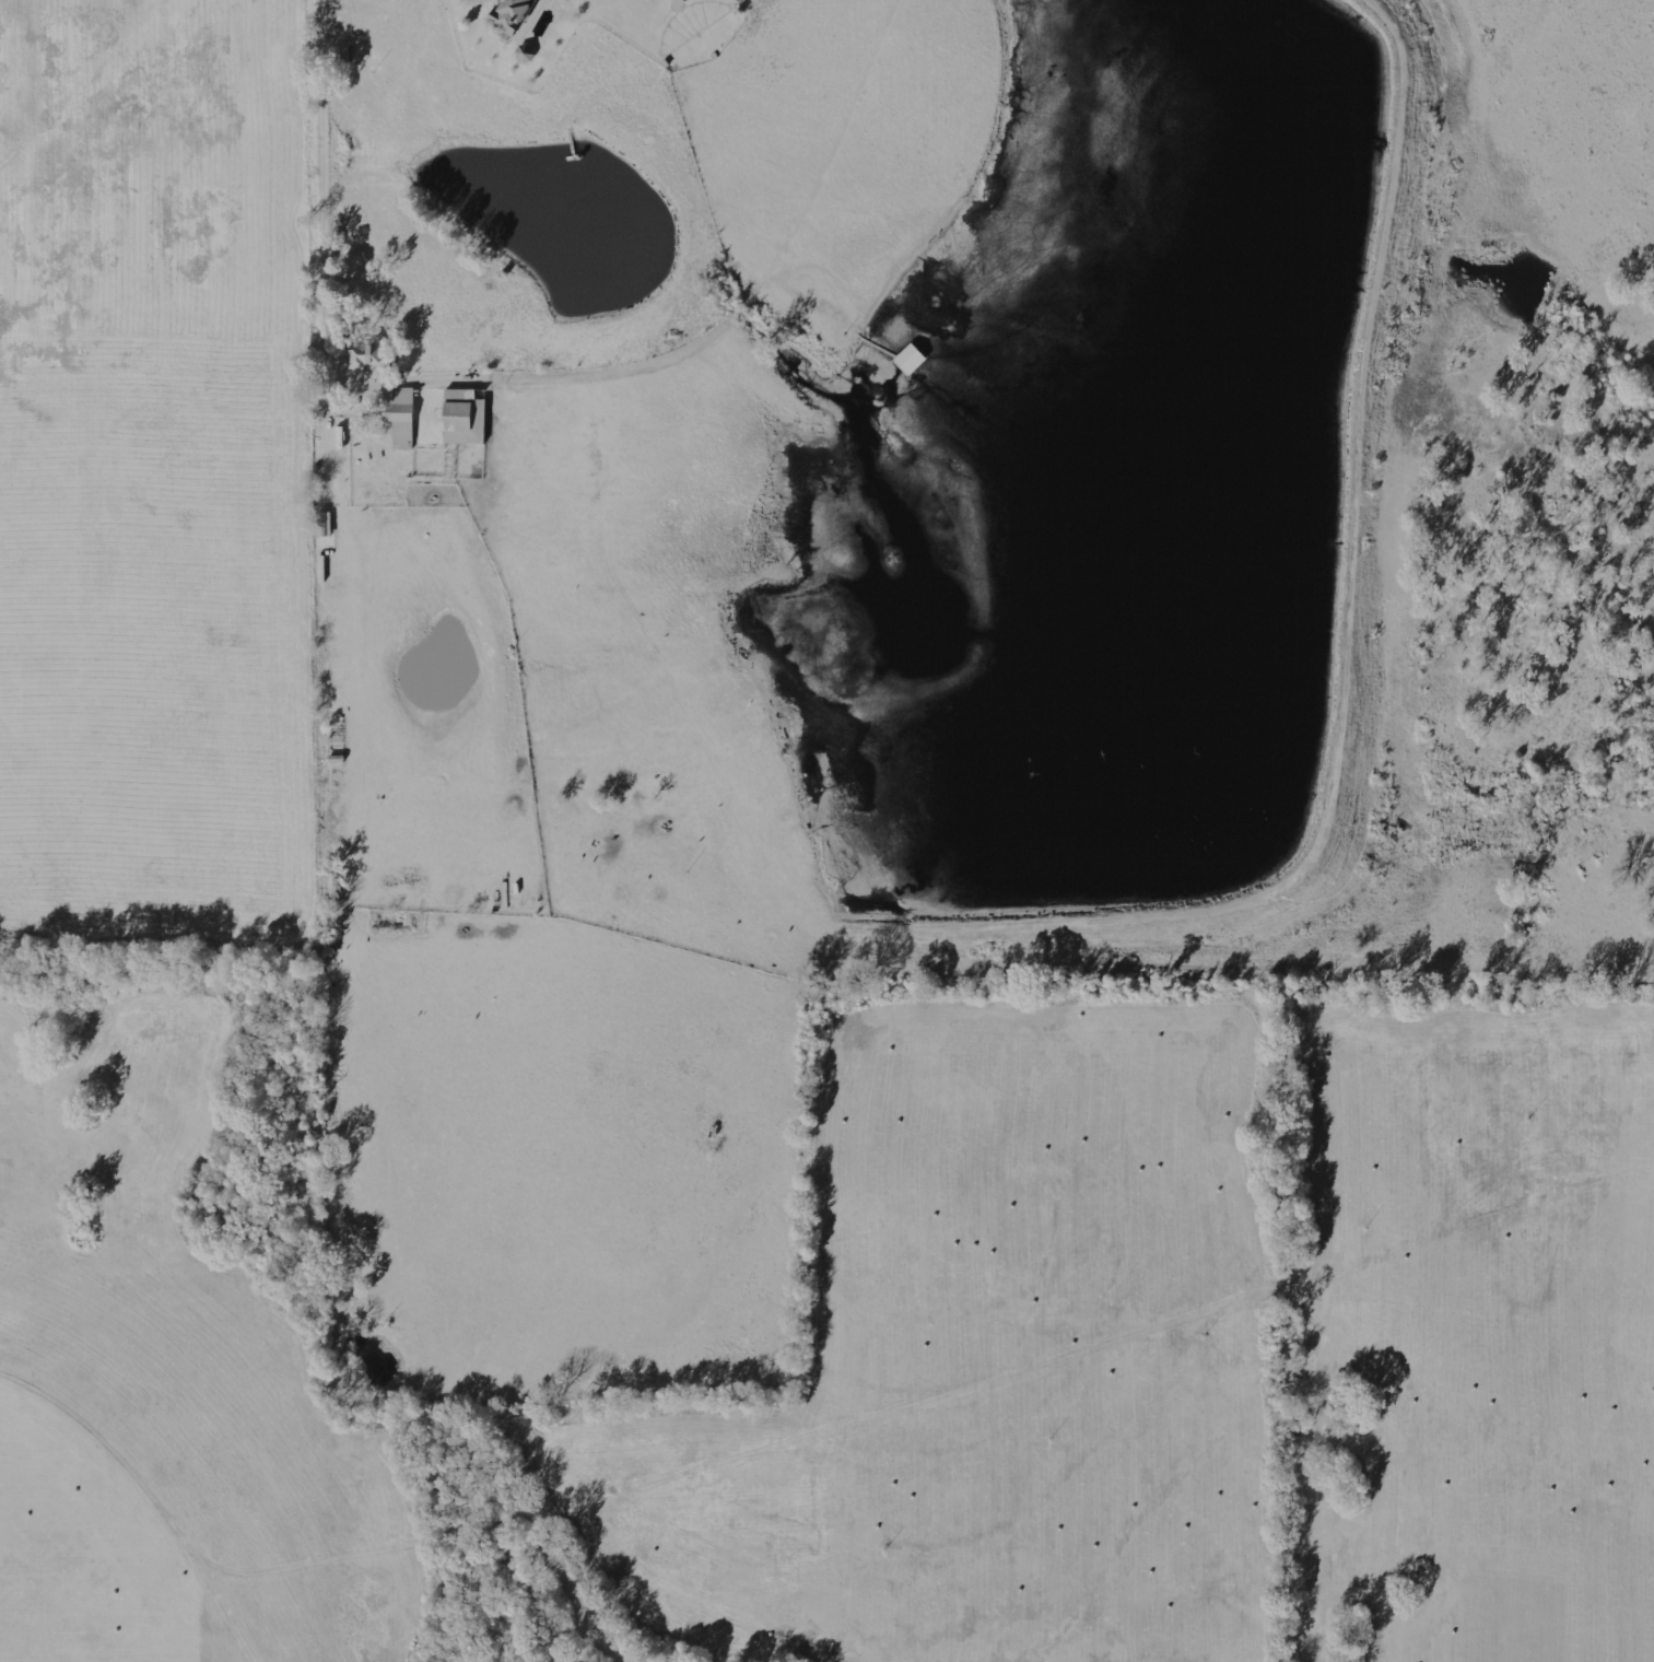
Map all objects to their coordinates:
building: (518, 15)
building: (344, 55)
building: (529, 55)
building: (369, 359)
building: (915, 359)
building: (469, 418)
building: (406, 419)
building: (328, 524)

